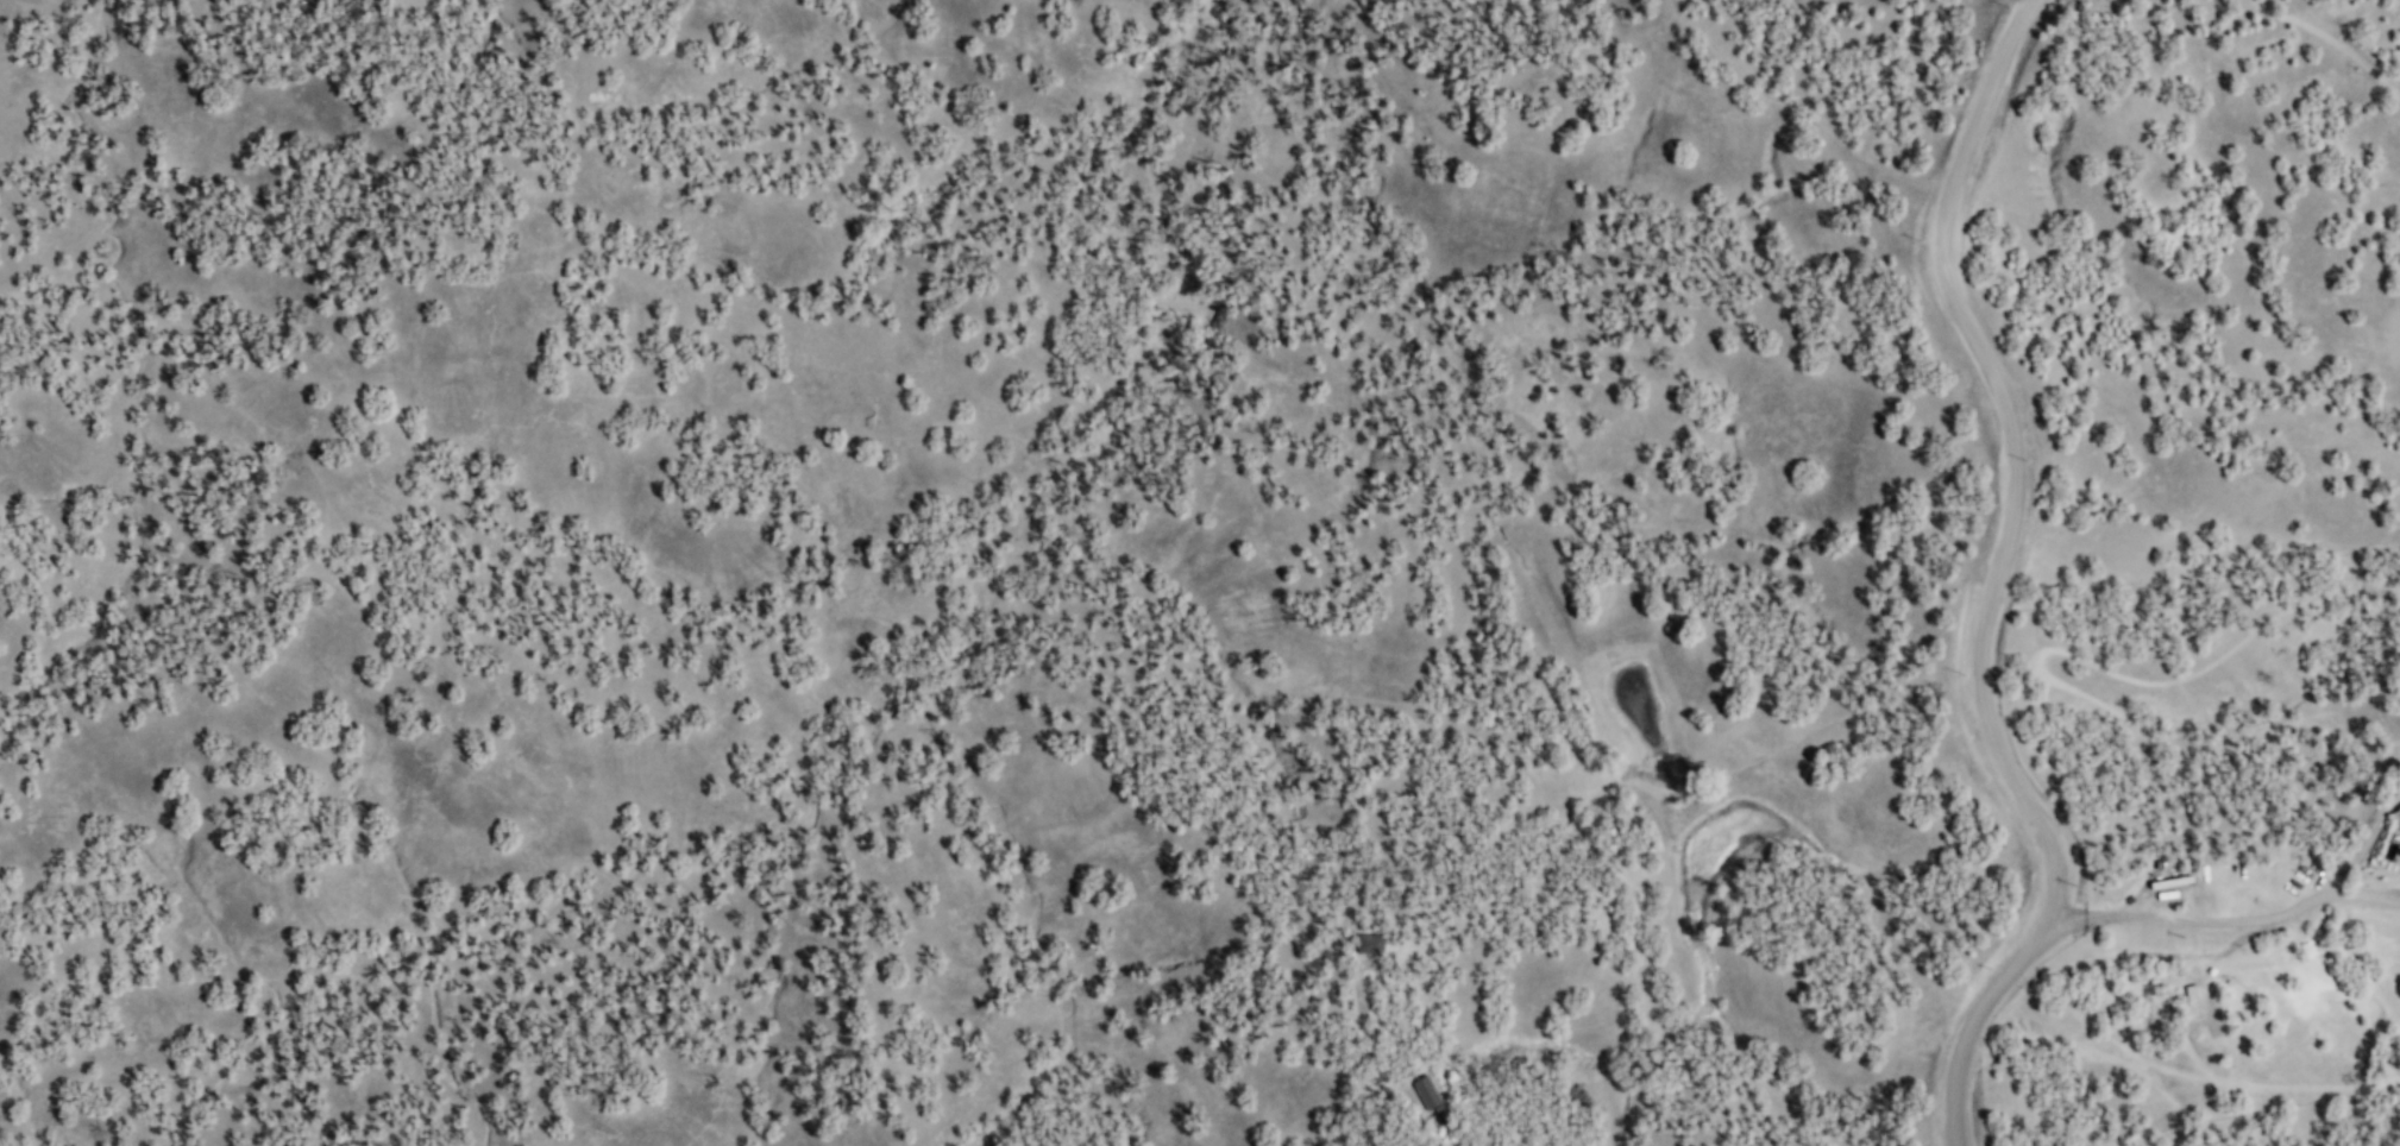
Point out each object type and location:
road: (2333, 38)
road: (1805, 108)
road: (2000, 577)
building: (1364, 943)
building: (1424, 1096)

